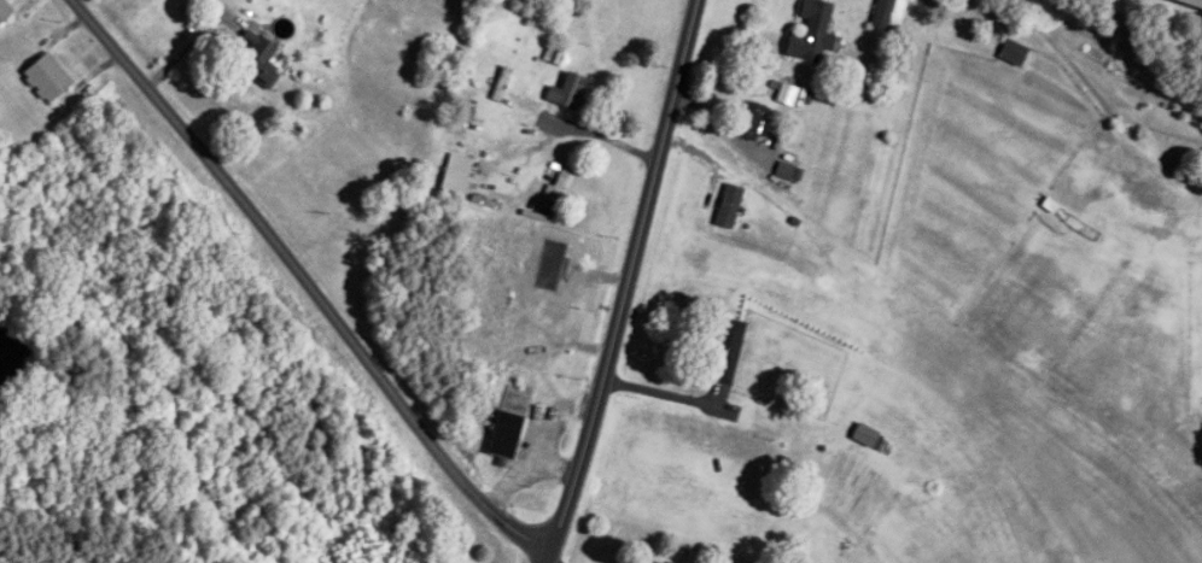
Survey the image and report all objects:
building: (1190, 2)
building: (5, 10)
building: (811, 33)
road: (188, 45)
building: (253, 57)
building: (47, 77)
building: (567, 93)
building: (465, 112)
building: (751, 122)
road: (602, 136)
building: (456, 175)
building: (560, 186)
building: (728, 206)
road: (628, 282)
road: (304, 283)
building: (725, 351)
road: (661, 393)
building: (504, 433)
building: (864, 435)
building: (650, 561)
road: (553, 562)

